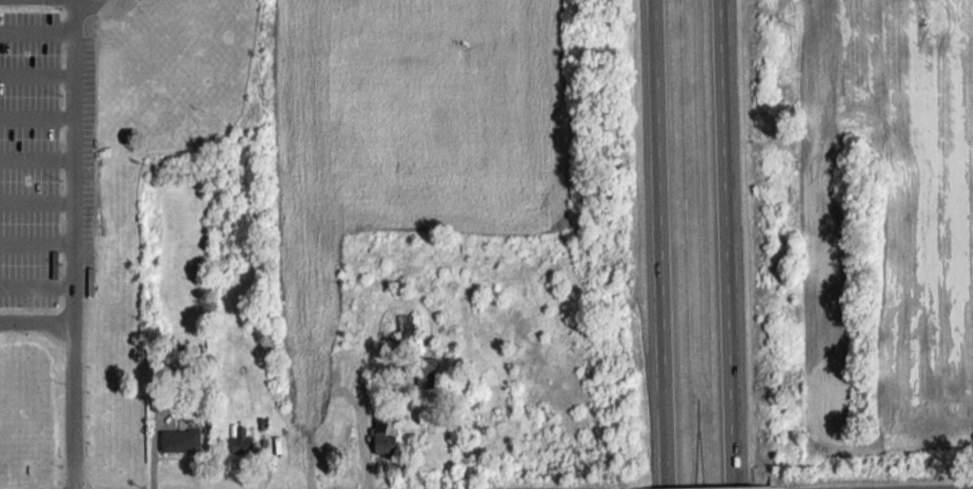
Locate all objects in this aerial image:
road: (38, 29)
road: (38, 68)
road: (37, 111)
road: (75, 128)
parking lot: (29, 156)
road: (37, 158)
road: (37, 198)
road: (729, 232)
road: (662, 233)
road: (37, 242)
road: (36, 286)
road: (71, 298)
road: (374, 368)
building: (426, 371)
road: (70, 376)
building: (383, 437)
building: (179, 438)
building: (242, 441)
road: (364, 454)
road: (668, 477)
road: (735, 477)

